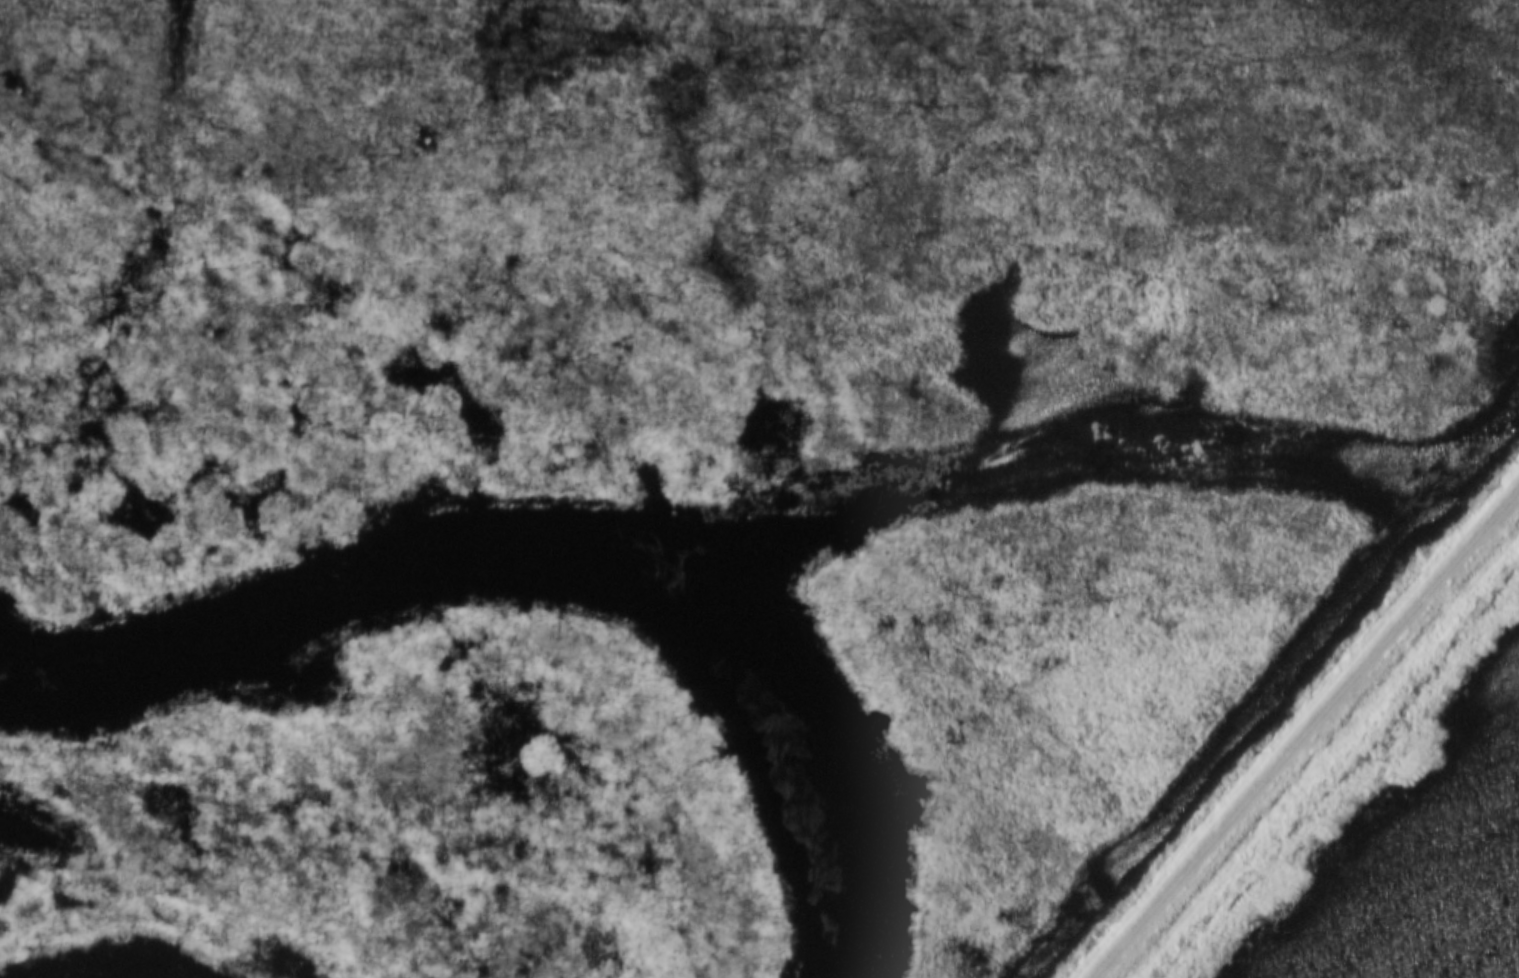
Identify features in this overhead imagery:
road: (1303, 732)
dam: (1325, 750)

